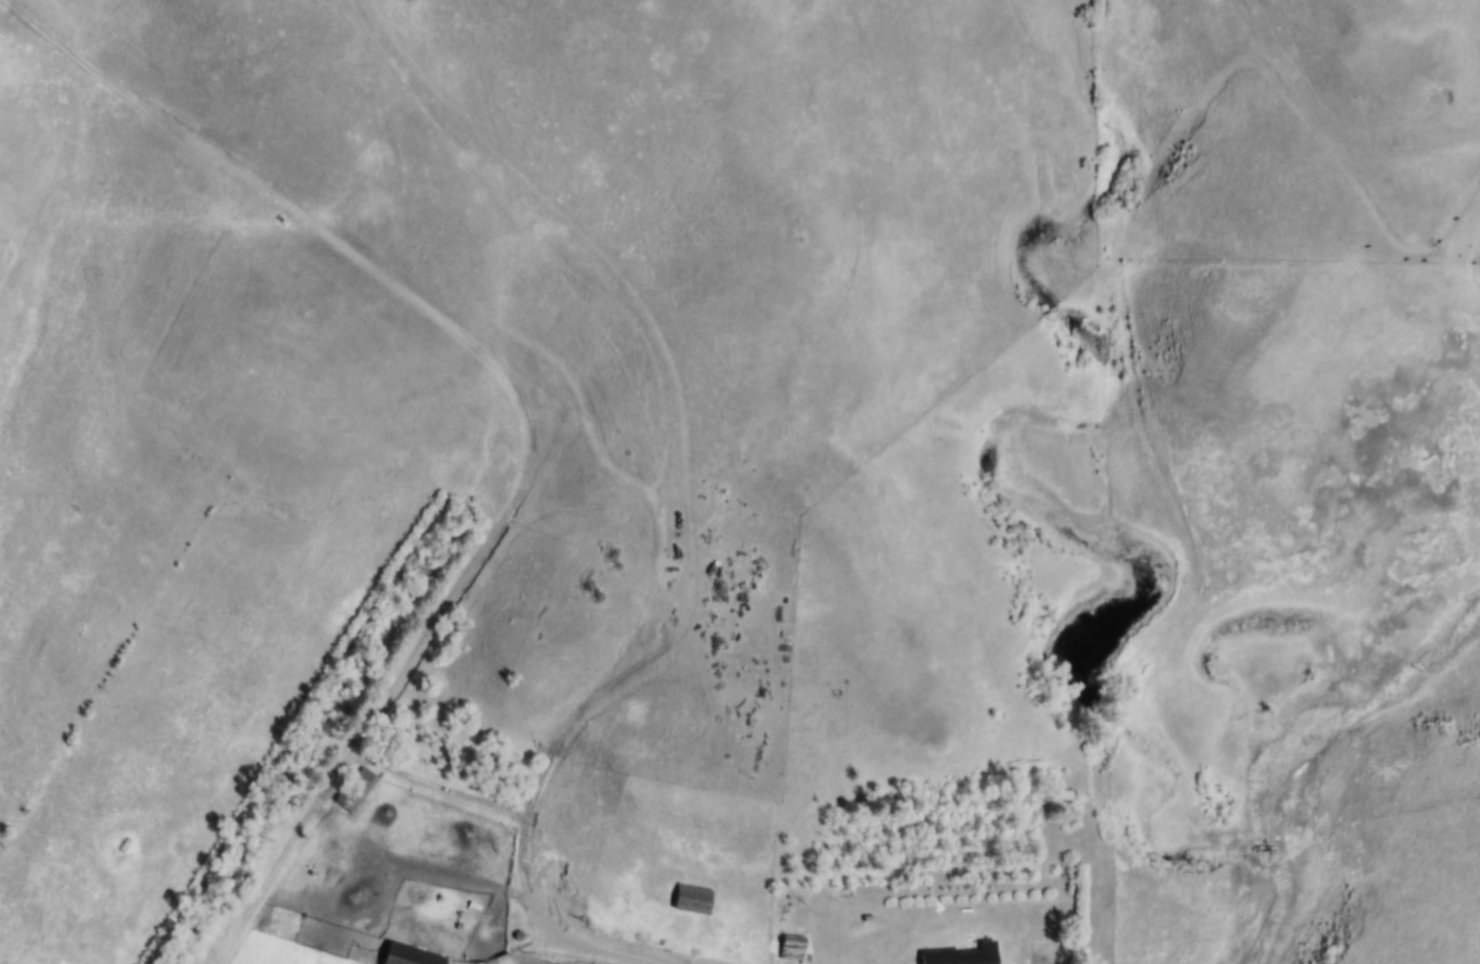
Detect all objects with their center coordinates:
road: (529, 427)
building: (355, 789)
building: (692, 899)
building: (791, 947)
road: (599, 951)
building: (978, 954)
building: (408, 956)

